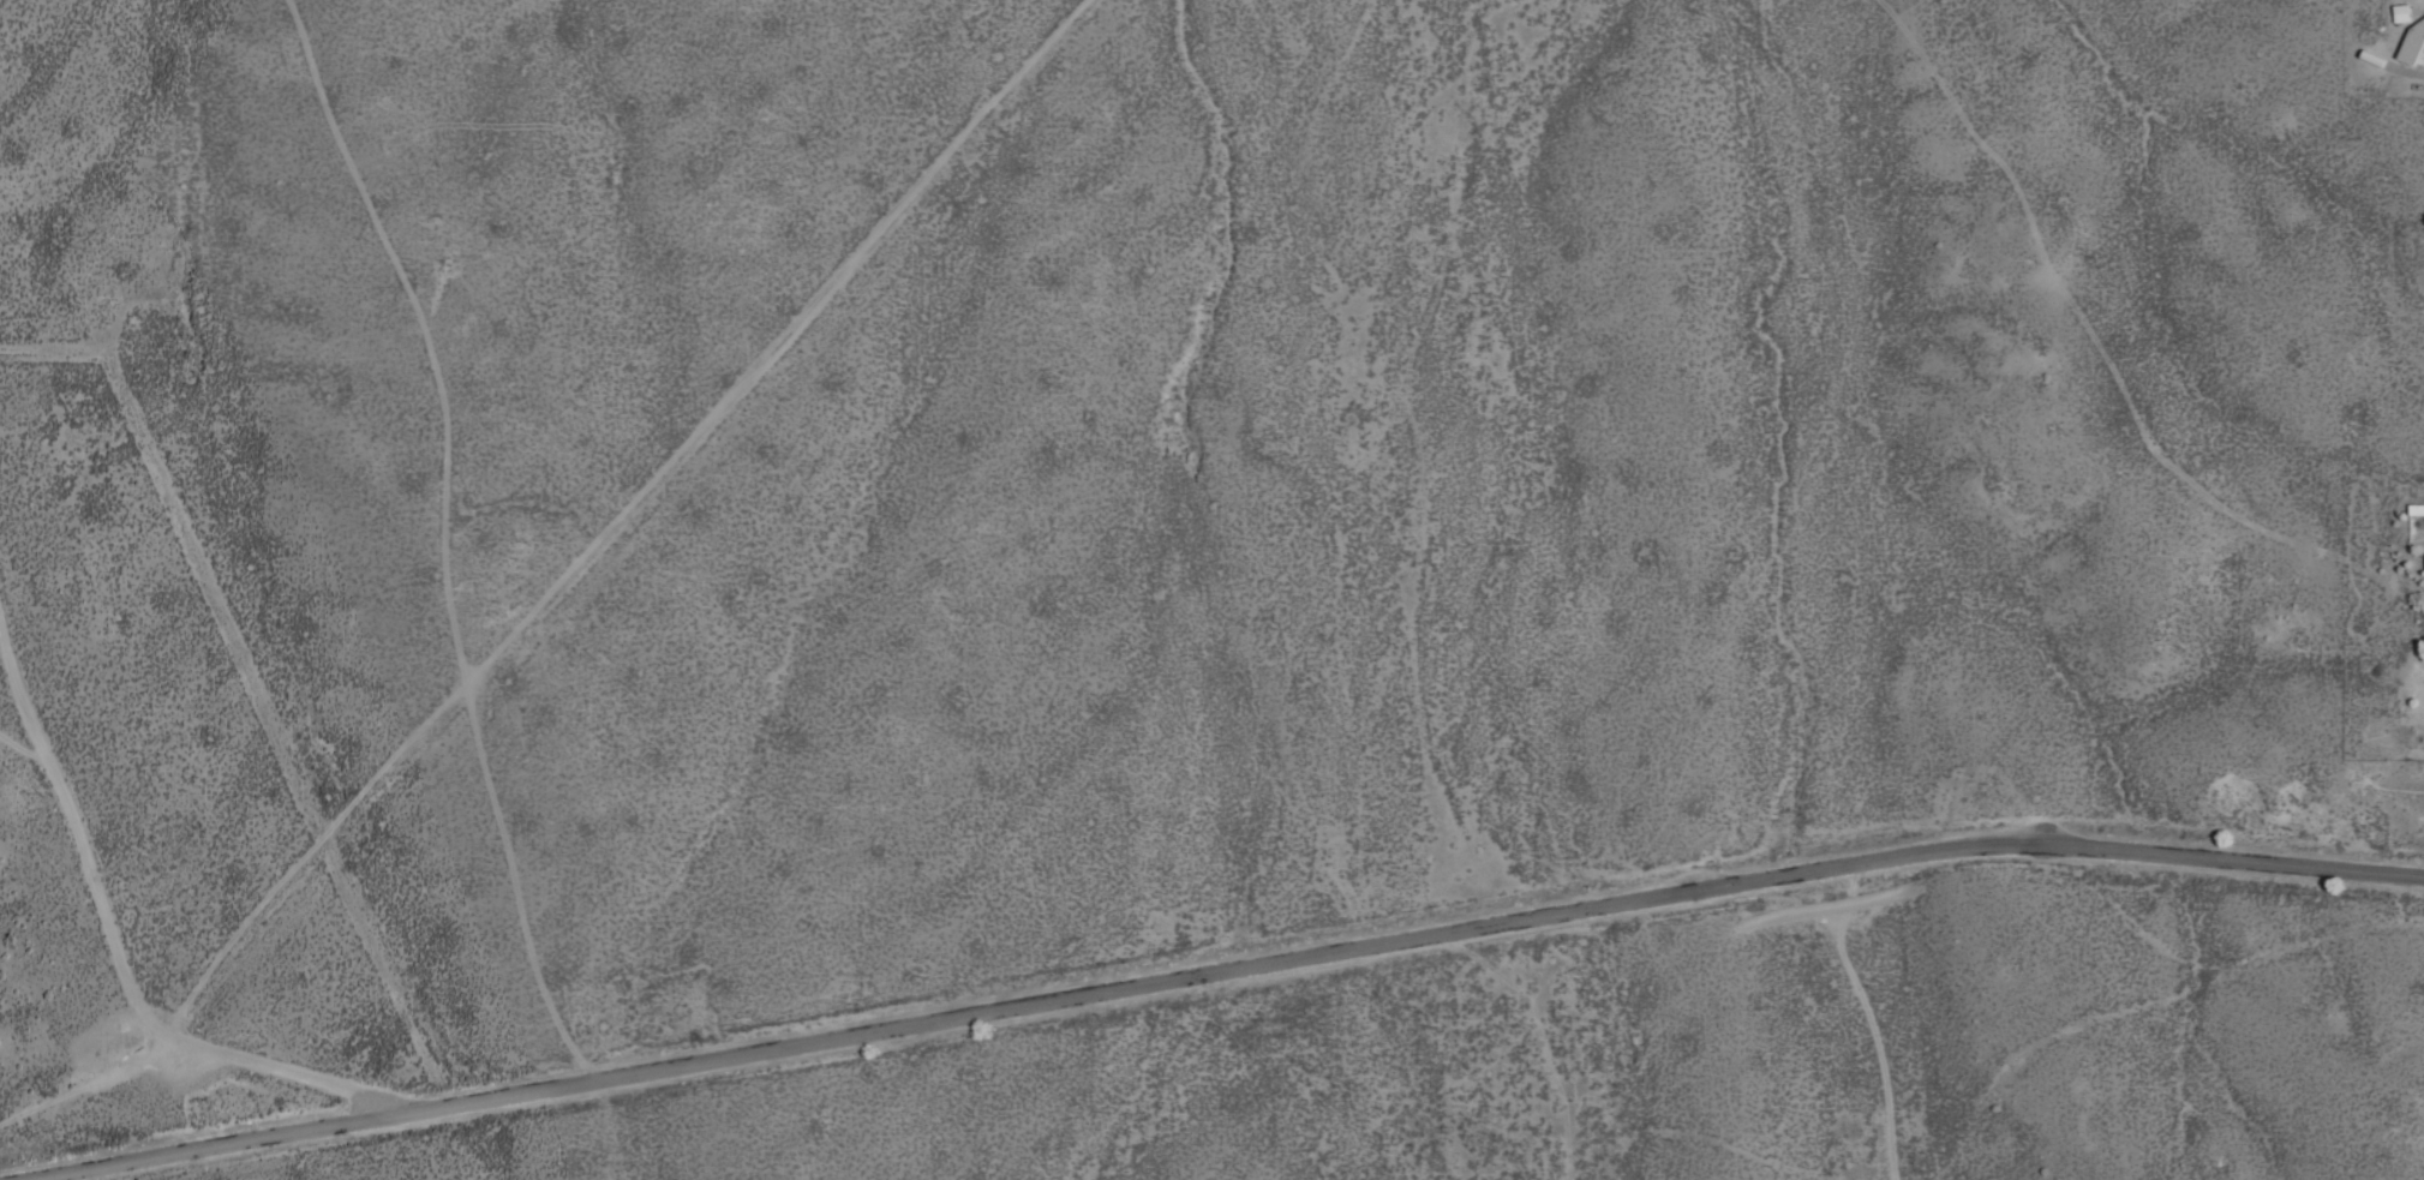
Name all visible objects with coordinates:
building: (2400, 12)
building: (2414, 508)
road: (1209, 970)

